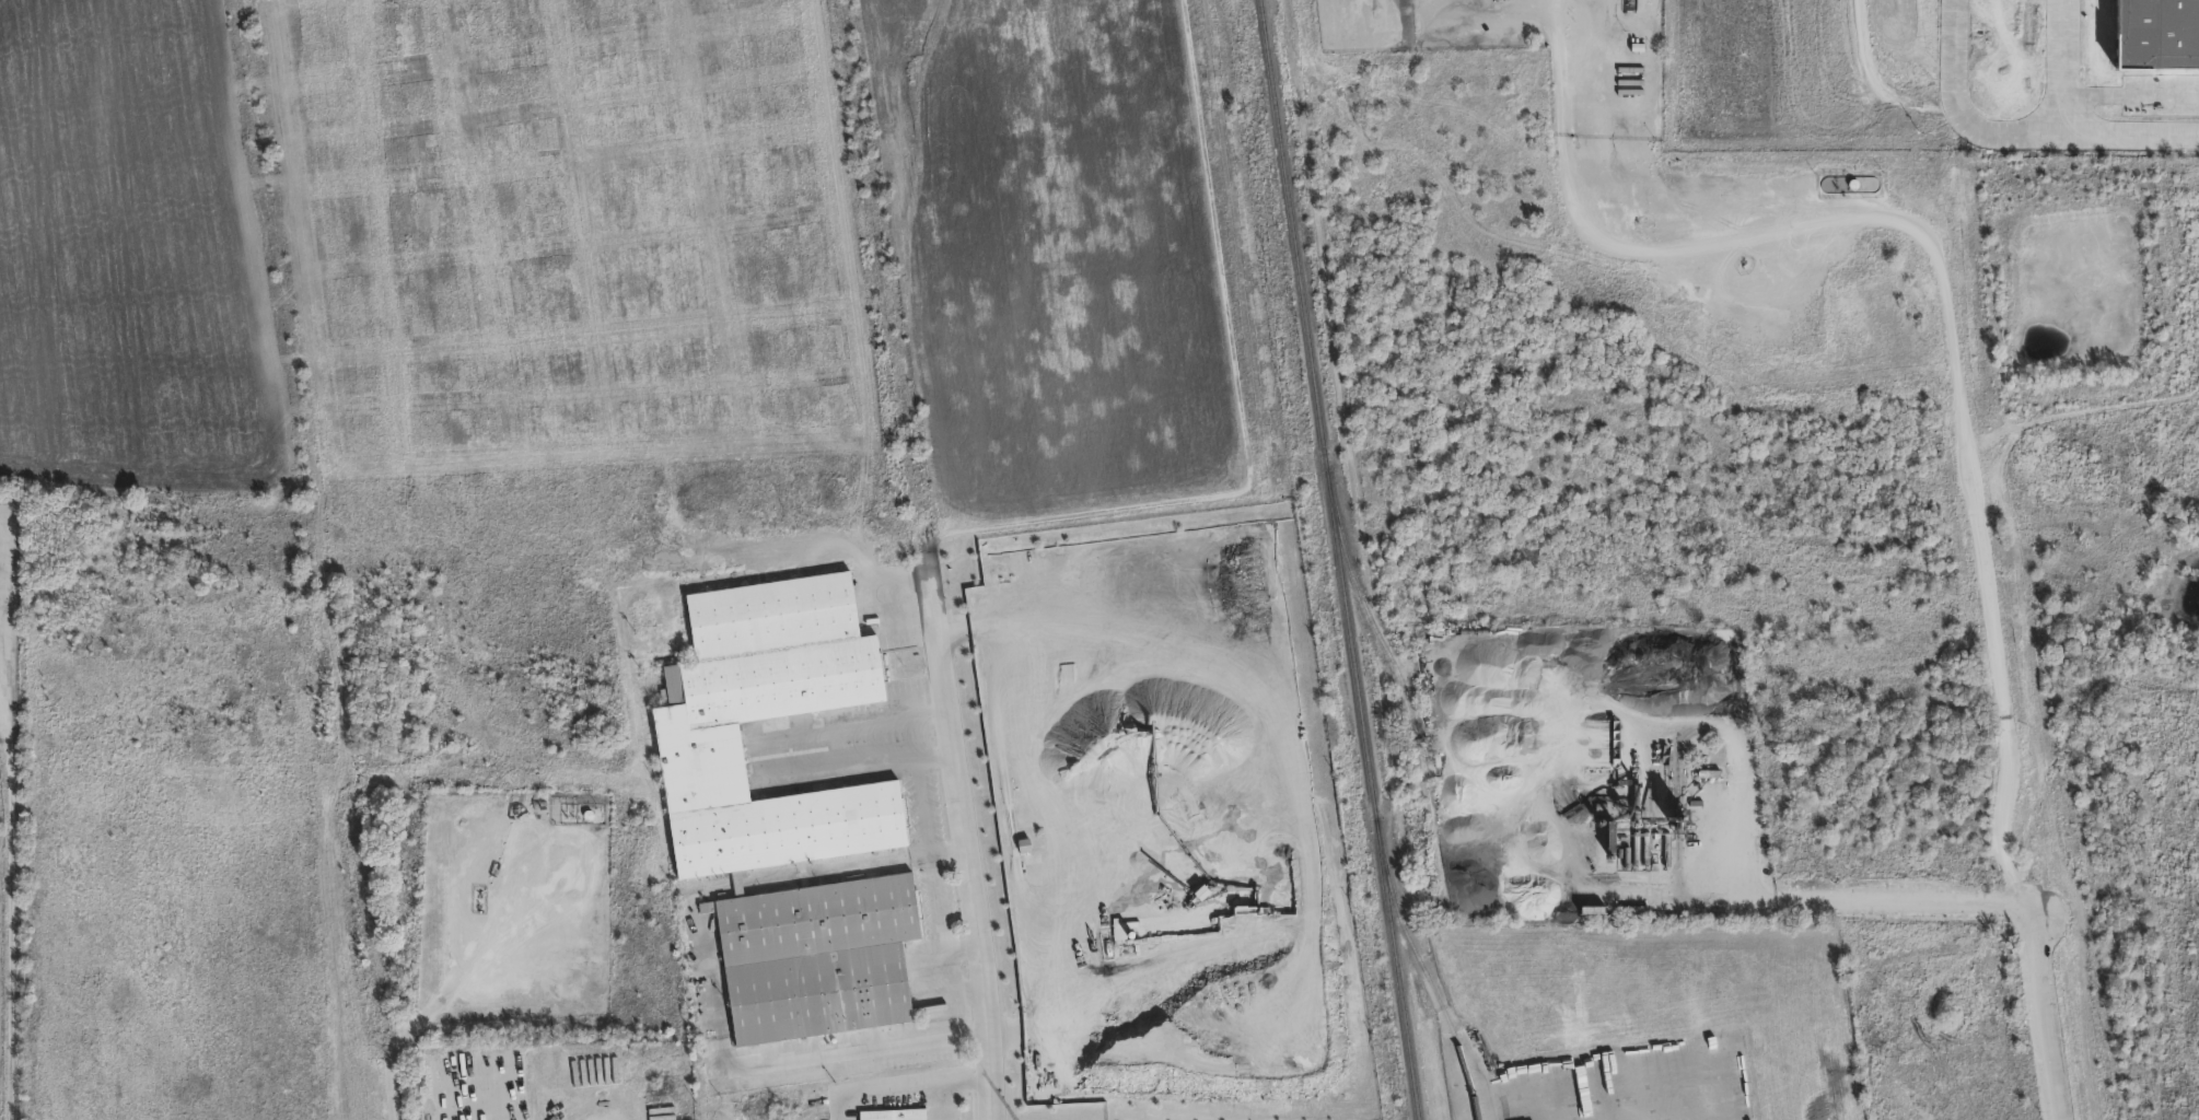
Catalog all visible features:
railway: (1318, 408)
road: (1958, 415)
railway: (1397, 675)
road: (949, 696)
road: (1734, 773)
building: (786, 812)
road: (951, 852)
road: (976, 898)
road: (938, 903)
road: (1870, 905)
building: (1630, 909)
road: (11, 921)
road: (963, 950)
road: (475, 966)
railway: (1396, 968)
railway: (1422, 968)
road: (967, 991)
road: (718, 1000)
road: (950, 1017)
road: (991, 1034)
road: (841, 1057)
road: (392, 1062)
road: (904, 1086)
road: (942, 1101)
building: (893, 1116)

